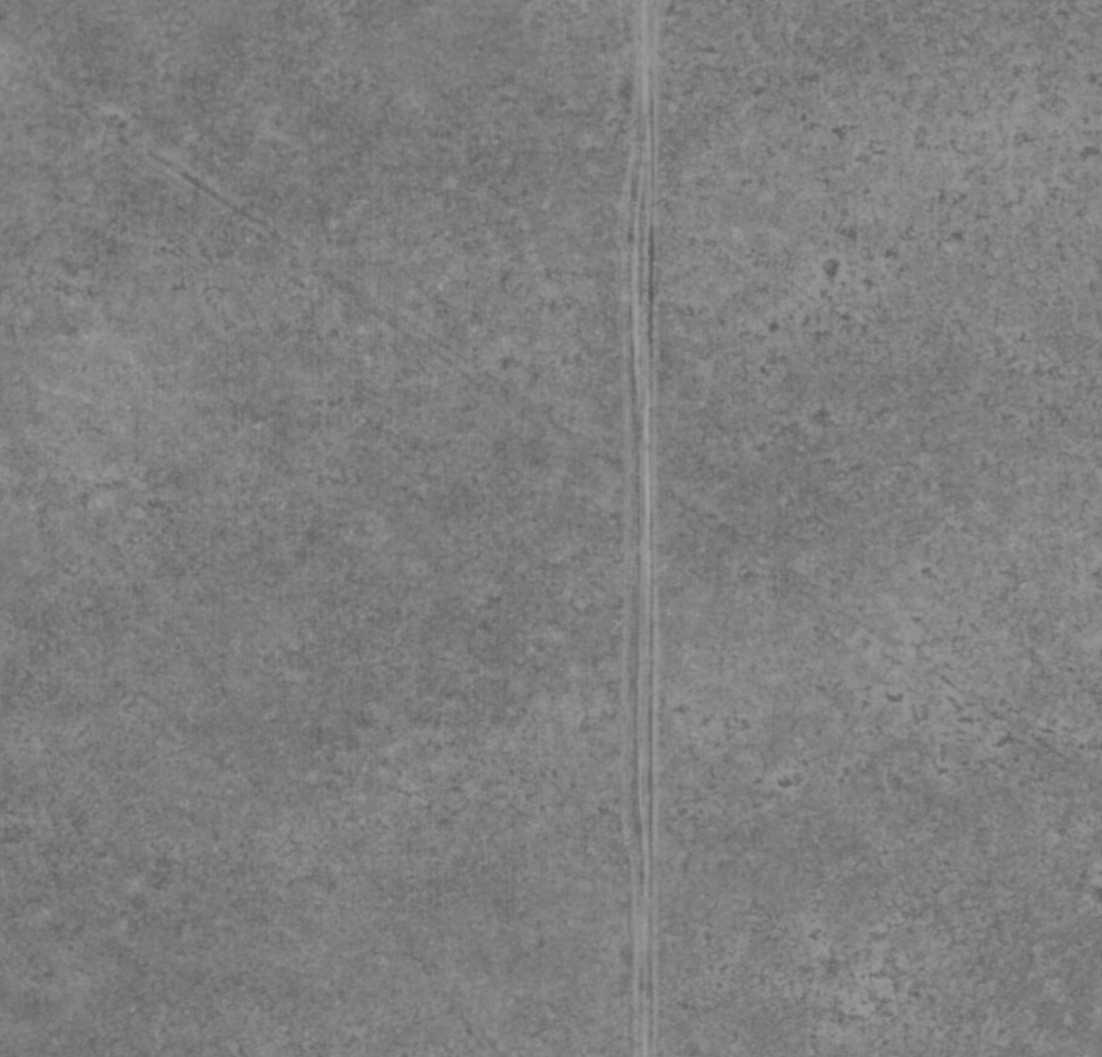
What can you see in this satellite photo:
airport: (870, 528)

